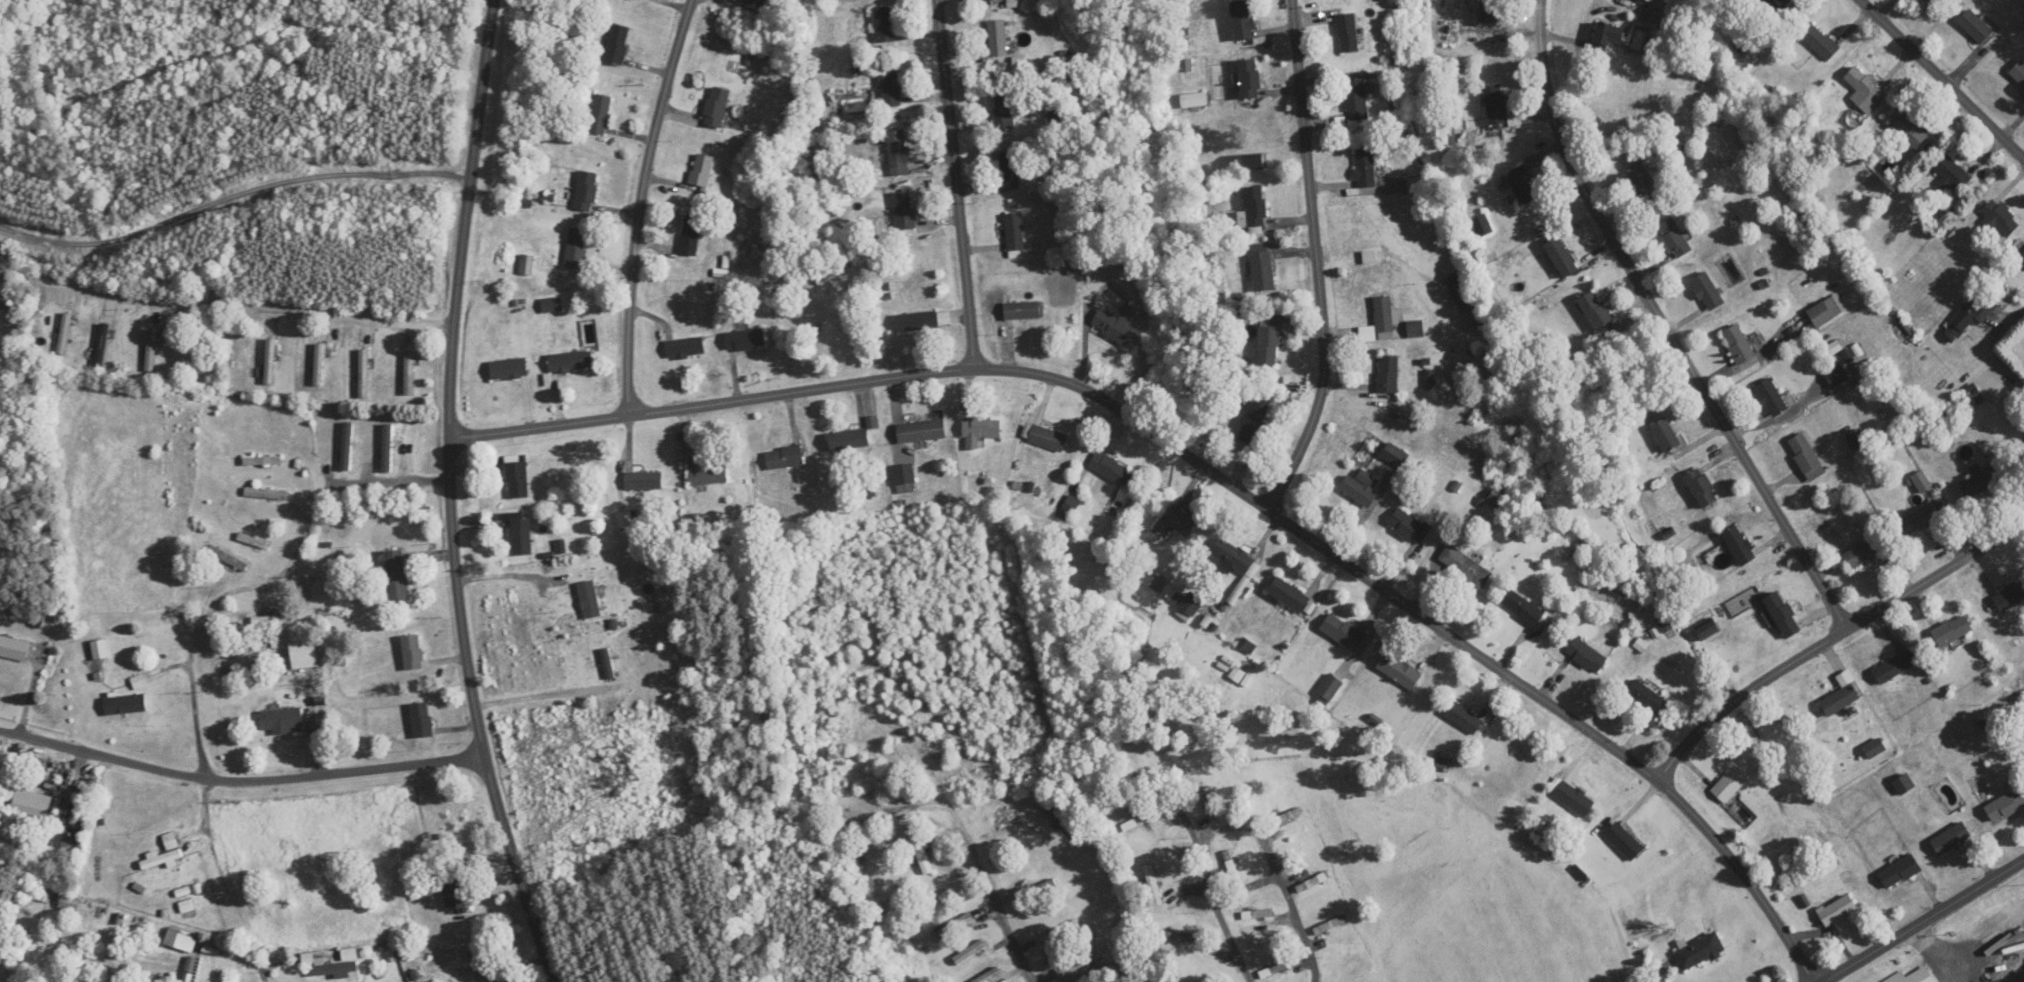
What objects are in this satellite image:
building: (640, 0)
building: (992, 0)
building: (755, 4)
building: (1777, 4)
building: (1489, 11)
building: (1653, 17)
building: (1242, 20)
building: (883, 25)
building: (1975, 26)
building: (1347, 33)
building: (1606, 37)
building: (998, 39)
building: (1821, 42)
building: (617, 44)
building: (2018, 72)
building: (1249, 79)
road: (1942, 79)
building: (890, 88)
building: (1865, 90)
building: (1195, 100)
building: (1356, 101)
building: (716, 107)
building: (1498, 108)
building: (1003, 109)
building: (600, 114)
building: (1909, 131)
building: (897, 153)
building: (1365, 168)
building: (1010, 170)
building: (1953, 173)
building: (700, 175)
building: (1415, 181)
building: (1642, 182)
road: (957, 185)
building: (1522, 185)
building: (585, 191)
road: (230, 203)
road: (642, 205)
building: (1254, 207)
building: (904, 211)
building: (1999, 218)
building: (1482, 225)
building: (690, 236)
building: (1014, 236)
building: (1675, 238)
building: (576, 248)
building: (1561, 257)
building: (2022, 259)
road: (1318, 262)
building: (1262, 268)
building: (1463, 289)
building: (1707, 291)
building: (551, 305)
road: (259, 306)
building: (1022, 311)
building: (1595, 311)
building: (1975, 311)
building: (1824, 312)
building: (923, 321)
building: (1380, 322)
road: (1665, 326)
building: (1116, 328)
building: (1415, 329)
building: (65, 334)
building: (744, 340)
building: (1738, 344)
building: (102, 345)
building: (1268, 345)
building: (684, 348)
building: (152, 351)
building: (270, 362)
building: (570, 362)
building: (319, 365)
building: (508, 369)
building: (364, 373)
building: (409, 373)
building: (1388, 375)
building: (1836, 376)
building: (1771, 398)
building: (1255, 421)
building: (921, 431)
building: (979, 432)
building: (1666, 435)
building: (1047, 438)
building: (849, 440)
building: (347, 446)
building: (2022, 446)
building: (387, 448)
building: (1804, 453)
building: (1395, 455)
building: (784, 458)
building: (262, 461)
building: (1110, 469)
building: (707, 475)
road: (1213, 475)
building: (516, 477)
building: (904, 477)
road: (399, 480)
building: (1980, 480)
building: (643, 481)
building: (1922, 482)
building: (1360, 488)
building: (1702, 488)
building: (265, 494)
road: (452, 496)
building: (625, 520)
building: (1919, 520)
building: (1180, 521)
building: (1408, 527)
building: (520, 536)
building: (257, 542)
building: (1739, 546)
building: (1861, 554)
building: (1233, 556)
building: (227, 558)
building: (1465, 568)
road: (508, 574)
building: (396, 576)
building: (1153, 580)
building: (1171, 592)
building: (592, 594)
building: (1288, 595)
building: (2011, 596)
building: (1191, 605)
building: (1522, 609)
building: (1782, 615)
building: (272, 621)
building: (1666, 626)
building: (1707, 631)
building: (1952, 631)
building: (1342, 632)
road: (1834, 641)
building: (13, 648)
building: (99, 649)
building: (412, 652)
building: (303, 655)
building: (1586, 656)
building: (608, 664)
building: (1892, 668)
building: (1399, 671)
building: (139, 682)
building: (1329, 689)
road: (541, 696)
building: (1841, 696)
building: (1646, 697)
building: (125, 704)
building: (1463, 718)
building: (281, 720)
building: (421, 720)
building: (1874, 749)
road: (240, 781)
building: (1904, 784)
building: (1730, 785)
road: (211, 796)
building: (1572, 798)
building: (1209, 806)
building: (2005, 807)
building: (1283, 817)
building: (853, 820)
building: (1140, 820)
building: (1951, 839)
building: (1624, 842)
building: (60, 843)
building: (923, 855)
building: (160, 859)
building: (1231, 867)
building: (1900, 872)
road: (1259, 877)
building: (1313, 882)
building: (1153, 885)
road: (991, 891)
building: (455, 895)
building: (68, 903)
building: (186, 906)
road: (1196, 907)
building: (1838, 911)
building: (1257, 915)
road: (1925, 924)
building: (1331, 925)
building: (953, 927)
building: (1176, 936)
road: (1072, 951)
building: (1699, 951)
building: (969, 953)
building: (1080, 964)
building: (326, 969)
building: (1275, 969)
road: (1349, 973)
building: (989, 976)
road: (1652, 976)
building: (1914, 976)

